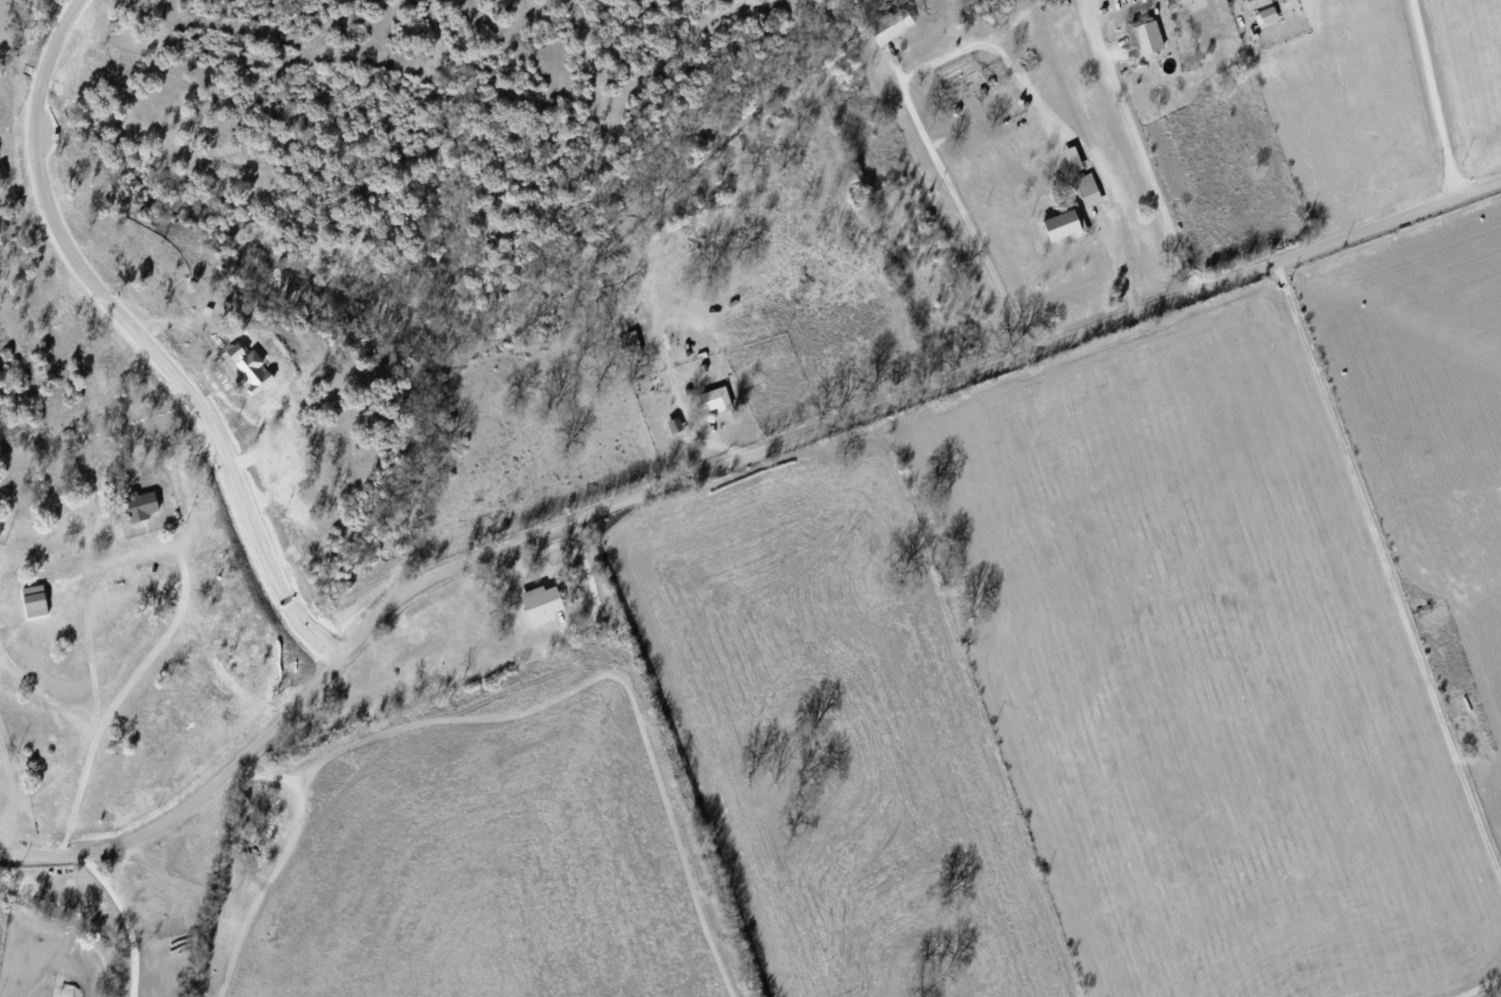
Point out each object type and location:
building: (1258, 3)
building: (1267, 16)
building: (890, 26)
building: (1149, 38)
road: (951, 53)
road: (1432, 96)
road: (1144, 154)
building: (1074, 159)
building: (1089, 189)
building: (1065, 225)
road: (137, 339)
building: (717, 398)
building: (675, 425)
road: (715, 465)
road: (185, 490)
building: (142, 505)
road: (183, 594)
building: (542, 603)
road: (1175, 670)
road: (677, 746)
road: (61, 775)
road: (11, 796)
road: (120, 860)
road: (124, 918)

